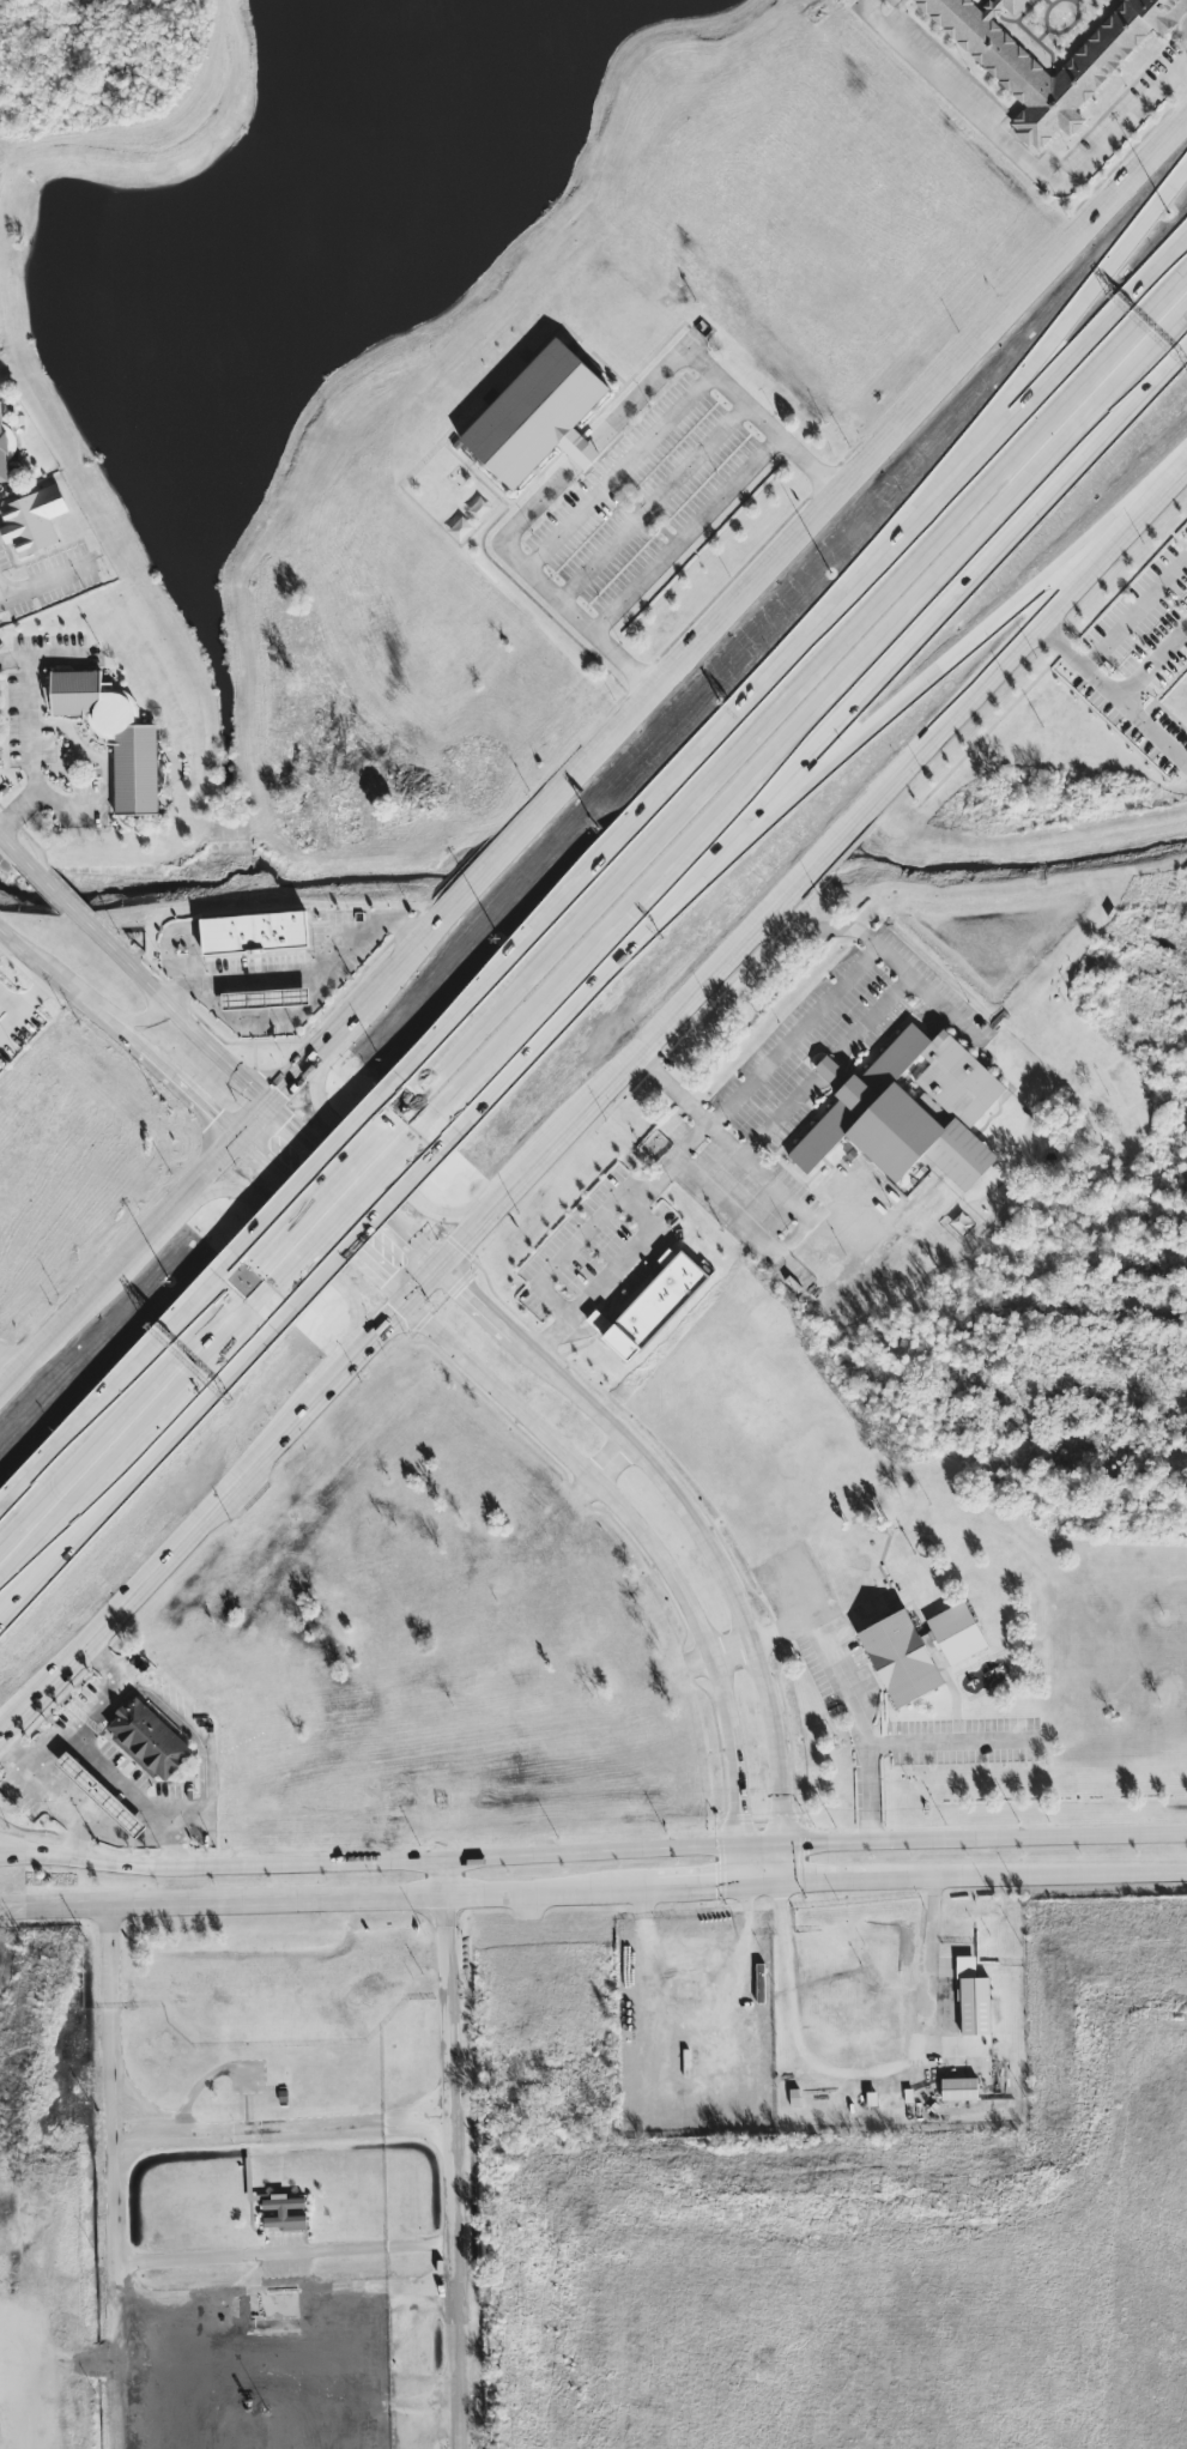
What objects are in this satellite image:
building: (1050, 48)
road: (1180, 65)
road: (1180, 79)
road: (1017, 155)
road: (1050, 335)
road: (717, 376)
road: (922, 411)
building: (538, 415)
building: (4, 453)
road: (582, 453)
road: (622, 471)
road: (655, 503)
building: (32, 520)
road: (686, 533)
road: (543, 582)
road: (36, 591)
road: (916, 605)
road: (1114, 629)
road: (801, 657)
road: (1153, 665)
road: (908, 694)
road: (1134, 712)
road: (32, 732)
building: (114, 733)
road: (12, 846)
road: (508, 858)
road: (52, 884)
road: (800, 885)
road: (826, 927)
building: (254, 931)
road: (1, 932)
road: (122, 955)
road: (305, 969)
road: (54, 975)
building: (265, 998)
road: (25, 1000)
road: (8, 1002)
road: (552, 1002)
road: (139, 1016)
road: (871, 1018)
road: (338, 1040)
road: (135, 1045)
road: (219, 1054)
road: (825, 1069)
building: (831, 1071)
road: (296, 1086)
road: (729, 1099)
road: (204, 1103)
traffic signals: (274, 1109)
building: (910, 1109)
road: (259, 1126)
road: (729, 1139)
traffic signals: (244, 1143)
road: (333, 1172)
road: (388, 1172)
road: (346, 1175)
road: (364, 1203)
road: (327, 1223)
road: (832, 1224)
road: (290, 1236)
road: (776, 1244)
road: (565, 1250)
road: (430, 1253)
traffic signals: (442, 1265)
road: (122, 1272)
building: (654, 1302)
traffic signals: (410, 1304)
road: (394, 1320)
building: (598, 1320)
road: (11, 1366)
road: (351, 1368)
road: (121, 1397)
road: (138, 1445)
road: (700, 1531)
road: (656, 1554)
road: (162, 1567)
road: (107, 1655)
building: (897, 1659)
road: (93, 1698)
road: (187, 1728)
road: (860, 1728)
building: (149, 1737)
road: (947, 1739)
parking lot: (965, 1741)
road: (97, 1756)
road: (52, 1791)
building: (99, 1792)
road: (169, 1822)
road: (128, 1837)
road: (593, 1850)
road: (1044, 1876)
road: (831, 1882)
road: (709, 1886)
road: (328, 1894)
building: (971, 1997)
road: (855, 2074)
building: (958, 2087)
road: (166, 2141)
road: (464, 2152)
building: (284, 2212)
road: (236, 2257)
road: (125, 2354)
road: (42, 2363)
road: (299, 2382)

